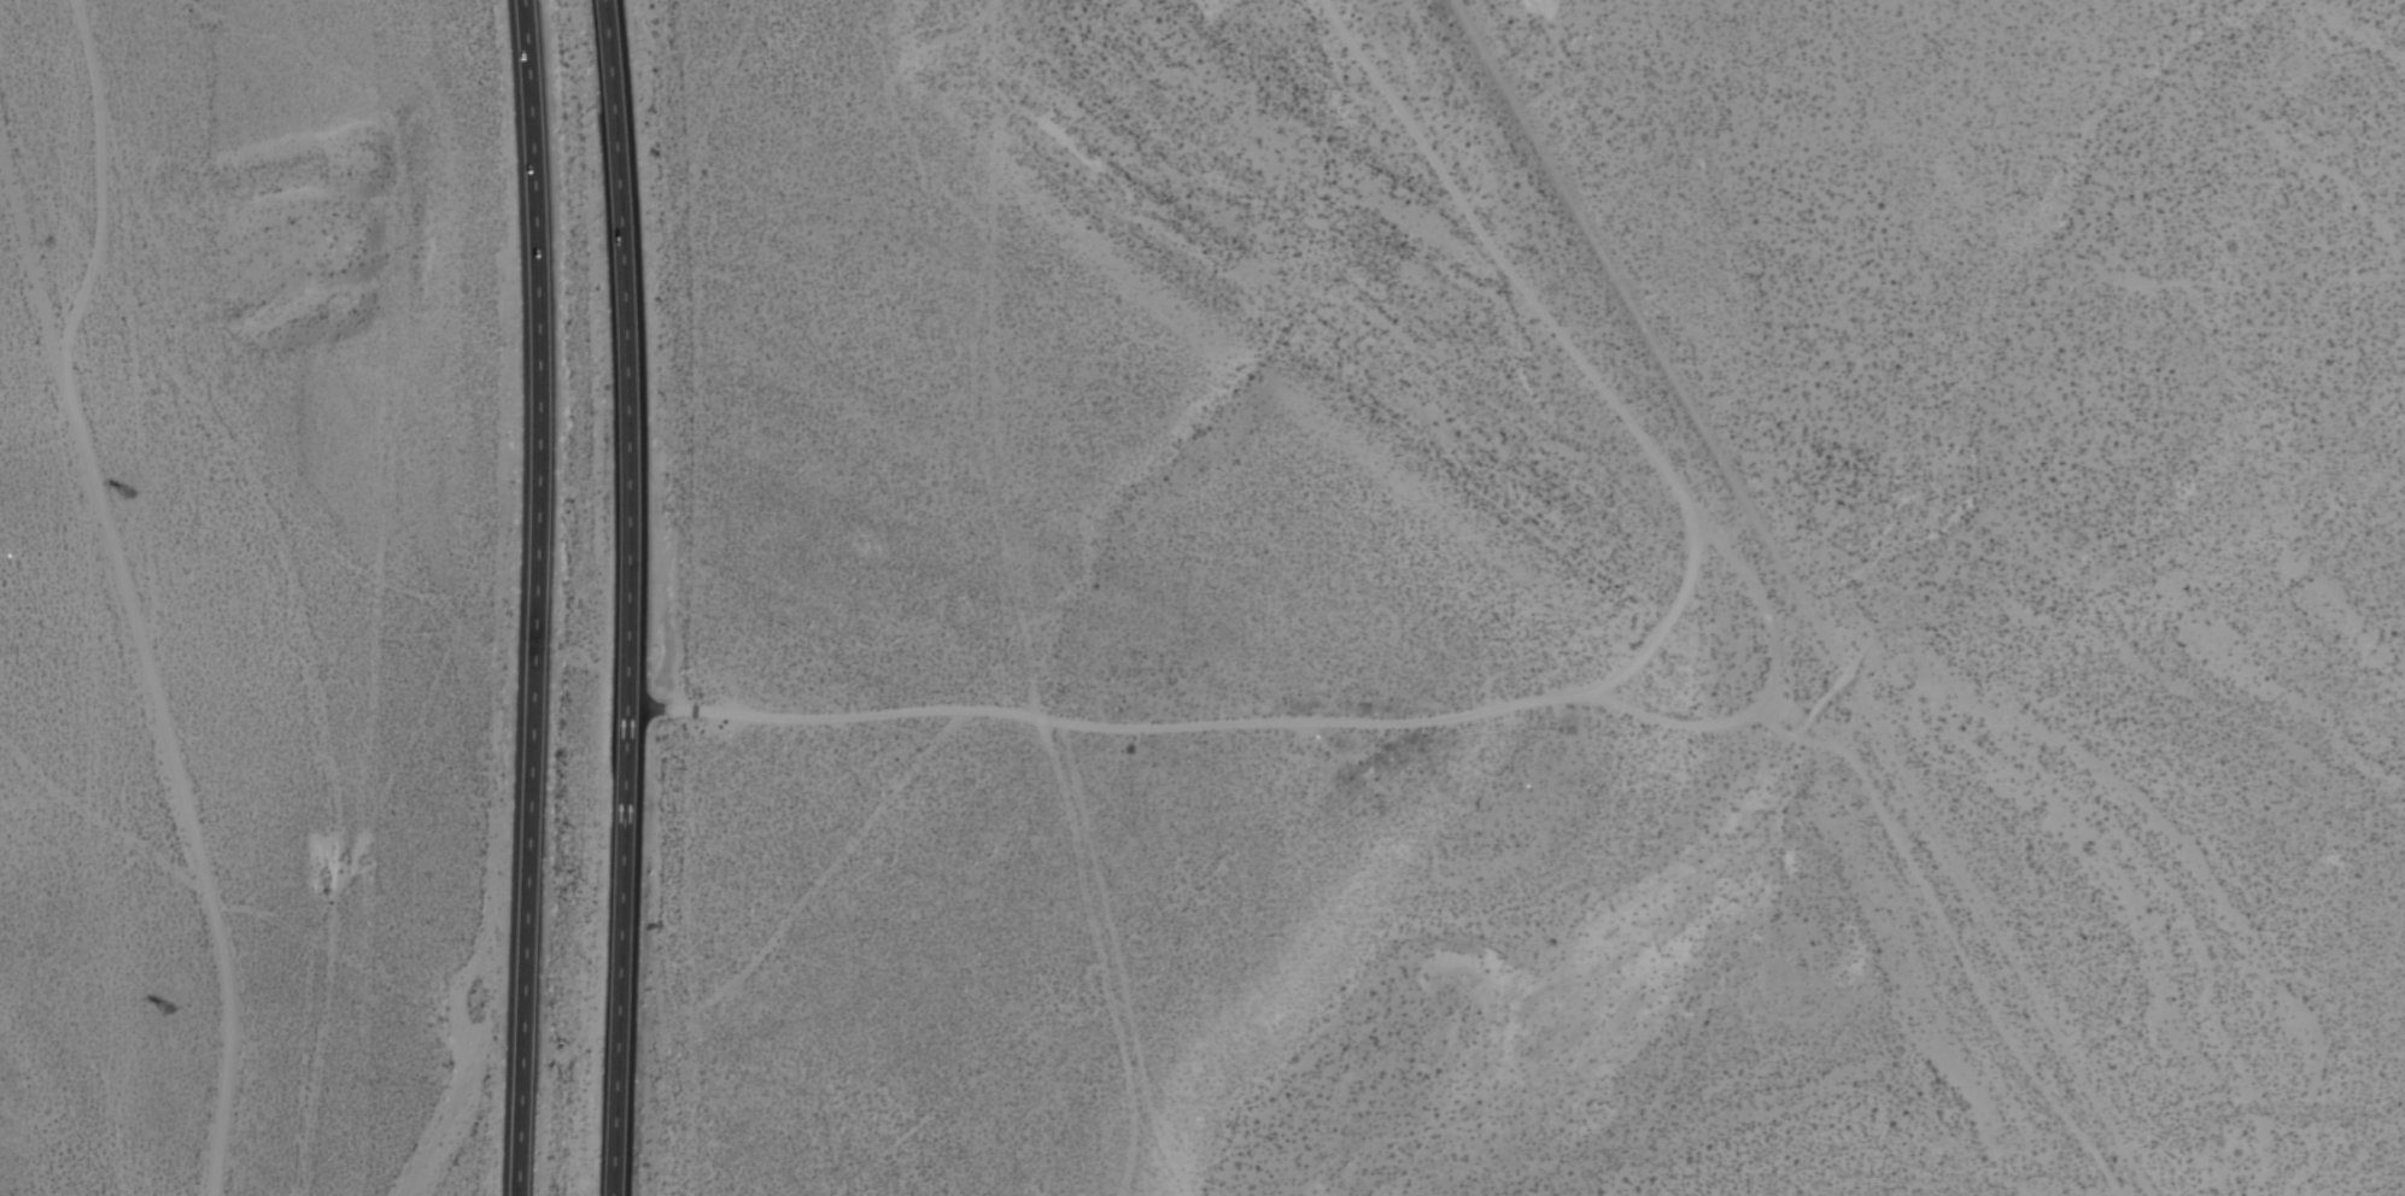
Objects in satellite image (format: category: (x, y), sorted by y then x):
road: (96, 186)
power tower: (125, 500)
road: (537, 597)
road: (631, 597)
road: (1655, 617)
road: (147, 668)
road: (1617, 699)
road: (1942, 937)
power tower: (166, 1012)
road: (454, 1106)

